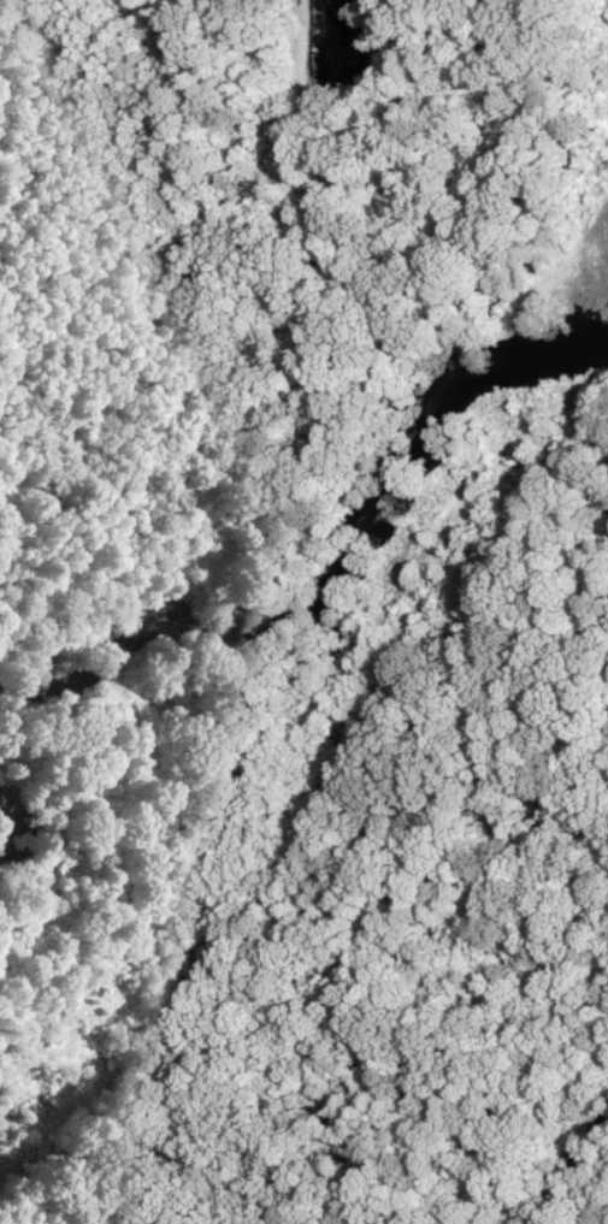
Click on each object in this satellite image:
river: (338, 574)
river: (11, 820)

